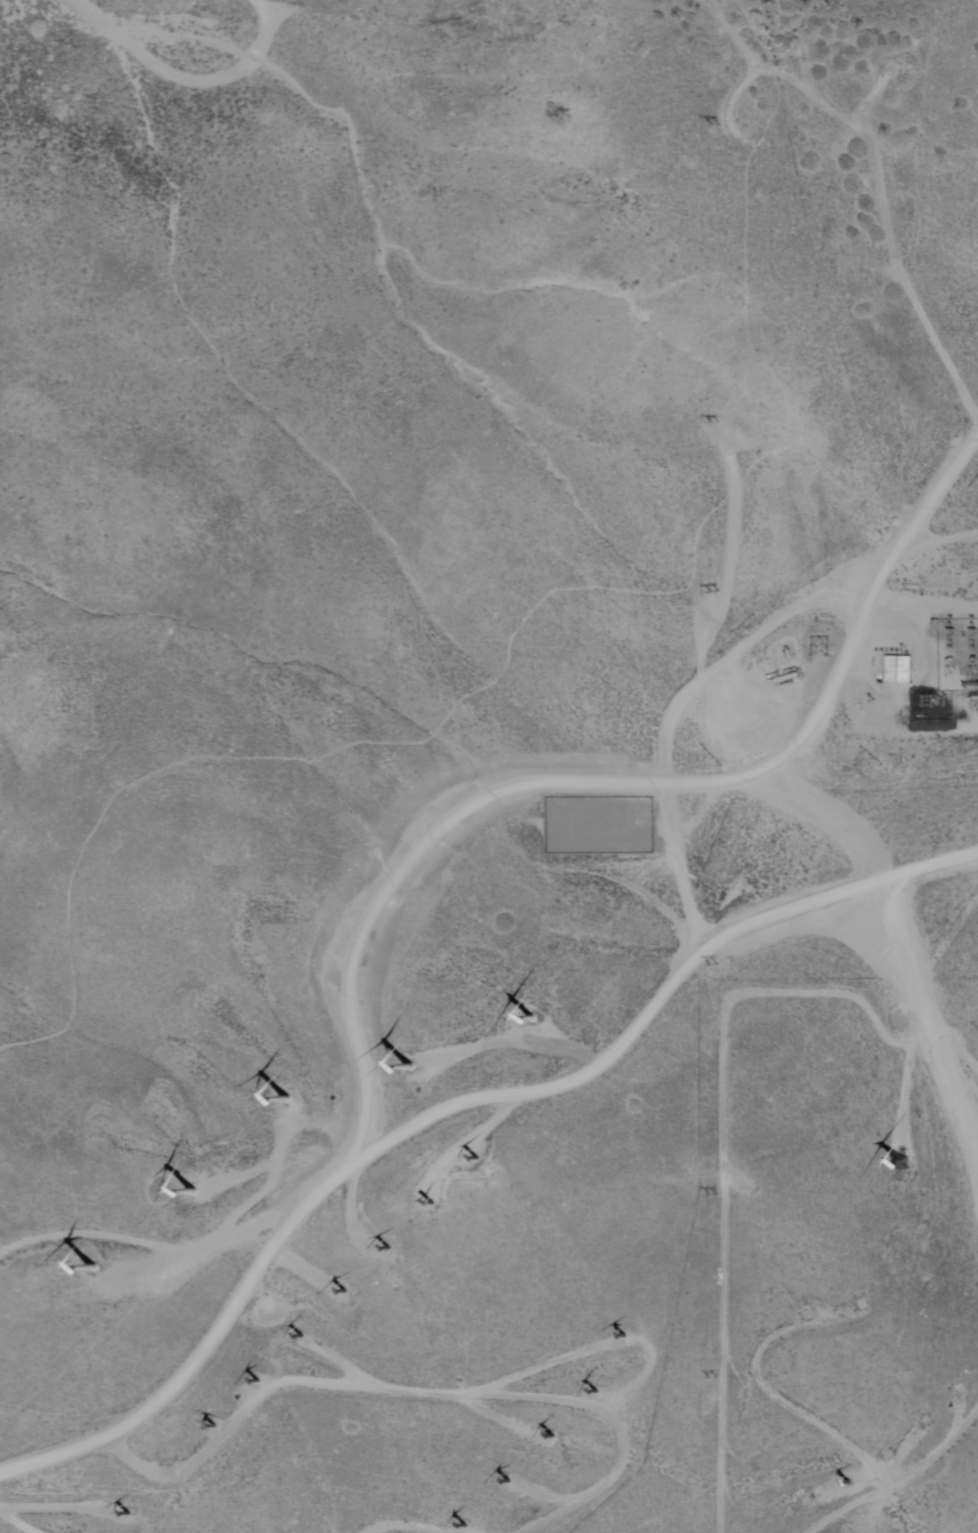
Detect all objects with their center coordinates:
road: (731, 109)
road: (880, 179)
road: (534, 608)
building: (896, 670)
power substation: (951, 670)
road: (532, 773)
power substation: (599, 824)
building: (586, 825)
building: (586, 837)
wind turbine: (529, 1023)
road: (615, 1043)
wind turbine: (409, 1070)
wind turbine: (285, 1100)
wind turbine: (479, 1160)
wind turbine: (900, 1164)
wind turbine: (194, 1190)
wind turbine: (438, 1204)
road: (144, 1246)
wind turbine: (385, 1249)
wind turbine: (93, 1267)
wind turbine: (346, 1290)
wind turbine: (625, 1336)
wind turbine: (299, 1338)
wind turbine: (258, 1382)
wind turbine: (600, 1392)
road: (418, 1393)
wind turbine: (208, 1427)
wind turbine: (550, 1439)
wind turbine: (165, 1470)
wind turbine: (507, 1483)
wind turbine: (845, 1486)
wind turbine: (122, 1516)
wind turbine: (465, 1525)
road: (415, 1530)

